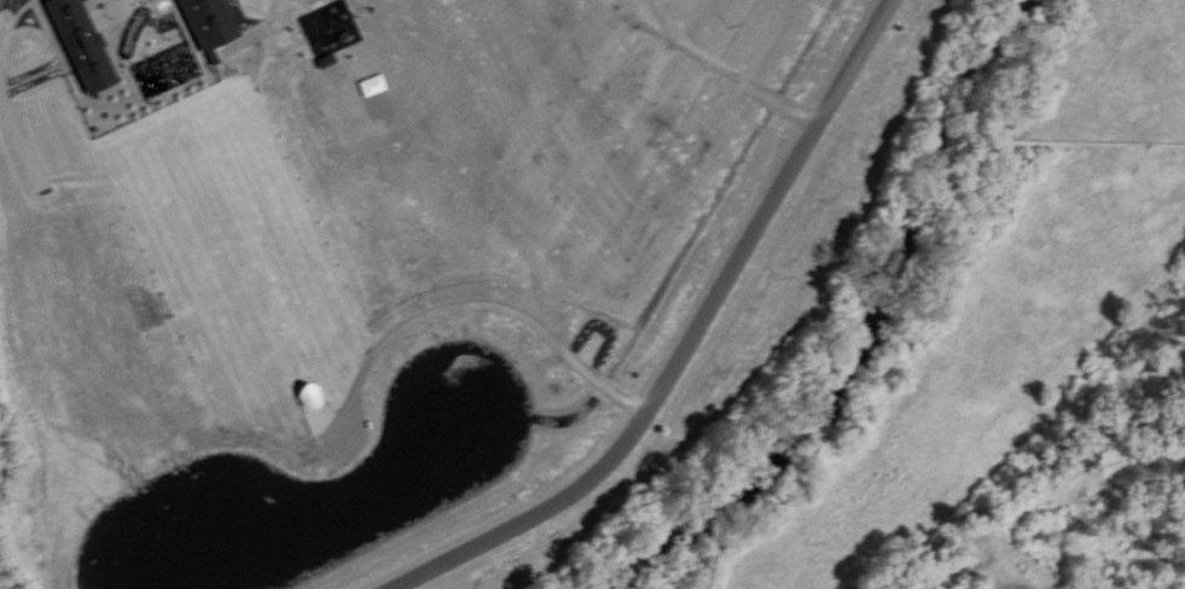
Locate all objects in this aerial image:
road: (1120, 245)
road: (471, 302)
road: (685, 340)
road: (904, 438)

